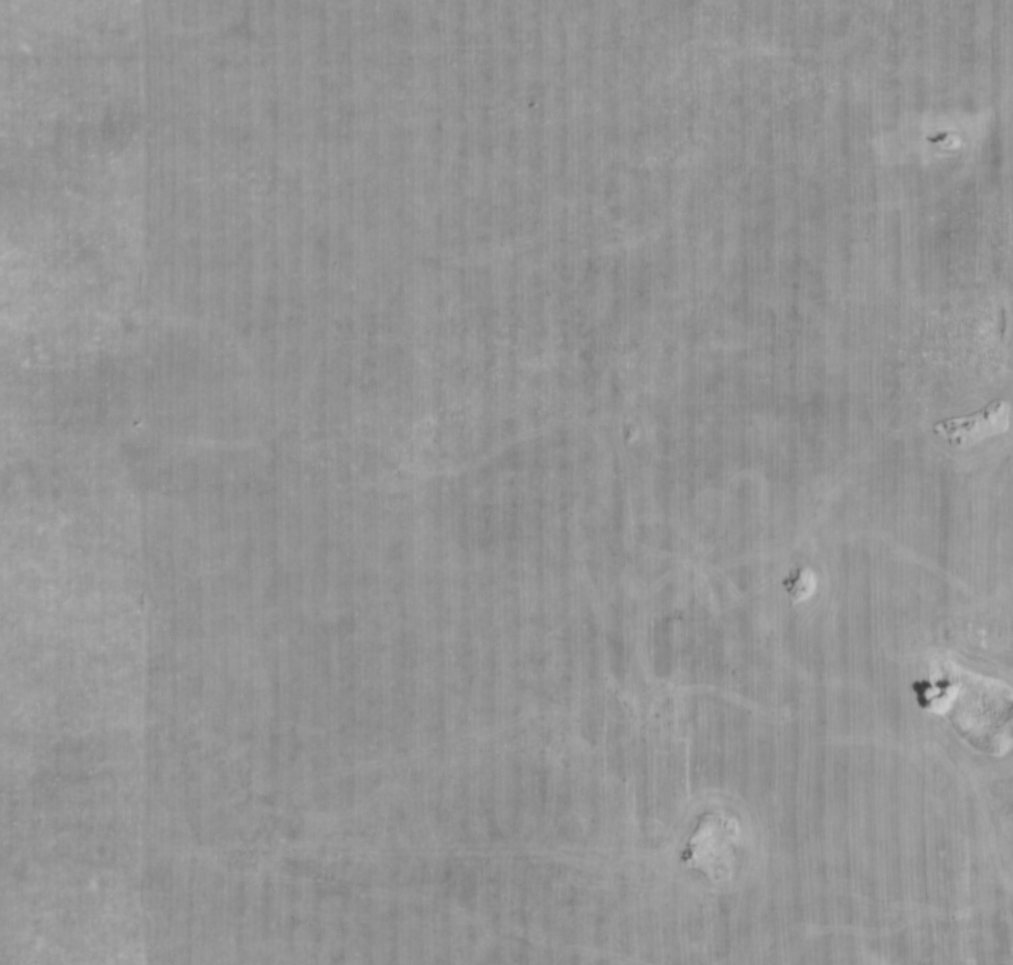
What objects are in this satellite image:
road: (1012, 87)

